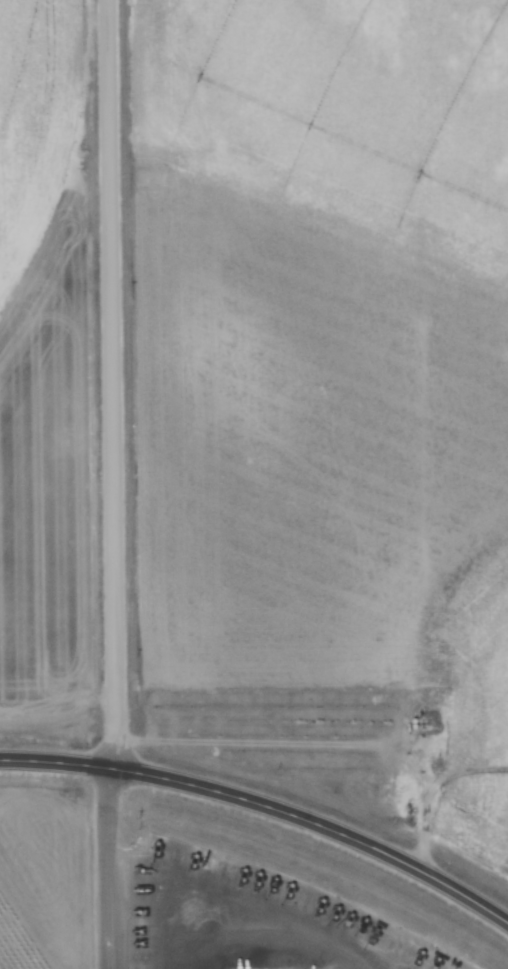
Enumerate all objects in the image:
road: (112, 383)
road: (57, 761)
road: (320, 823)
road: (107, 867)

